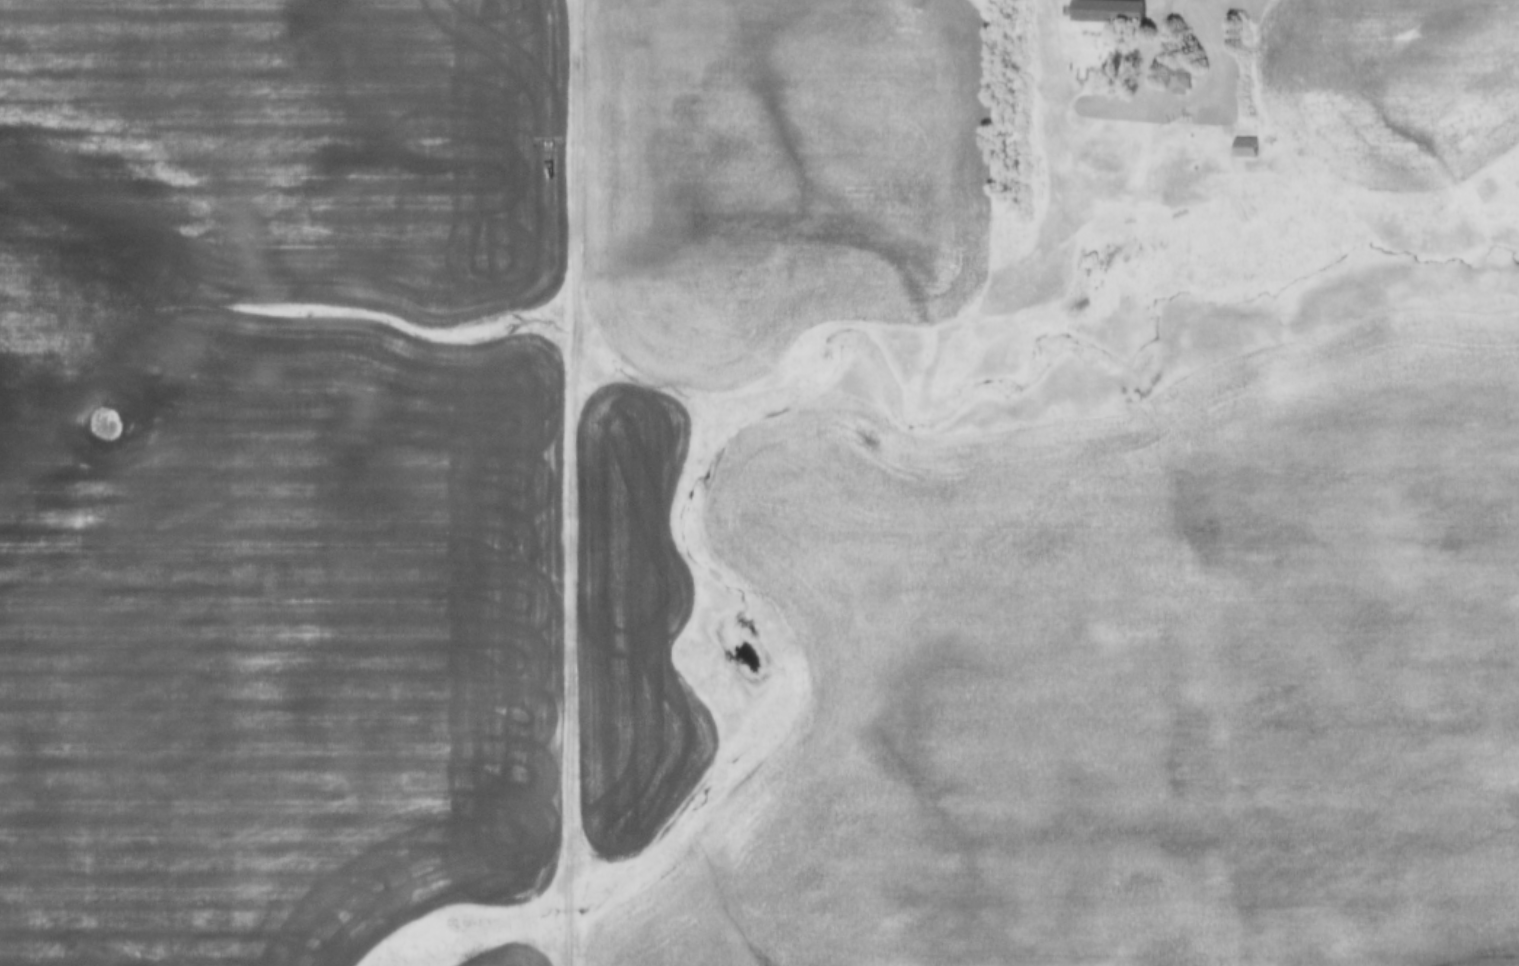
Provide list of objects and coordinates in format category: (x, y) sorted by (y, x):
building: (1112, 12)
building: (1183, 80)
road: (1184, 104)
building: (1250, 148)

